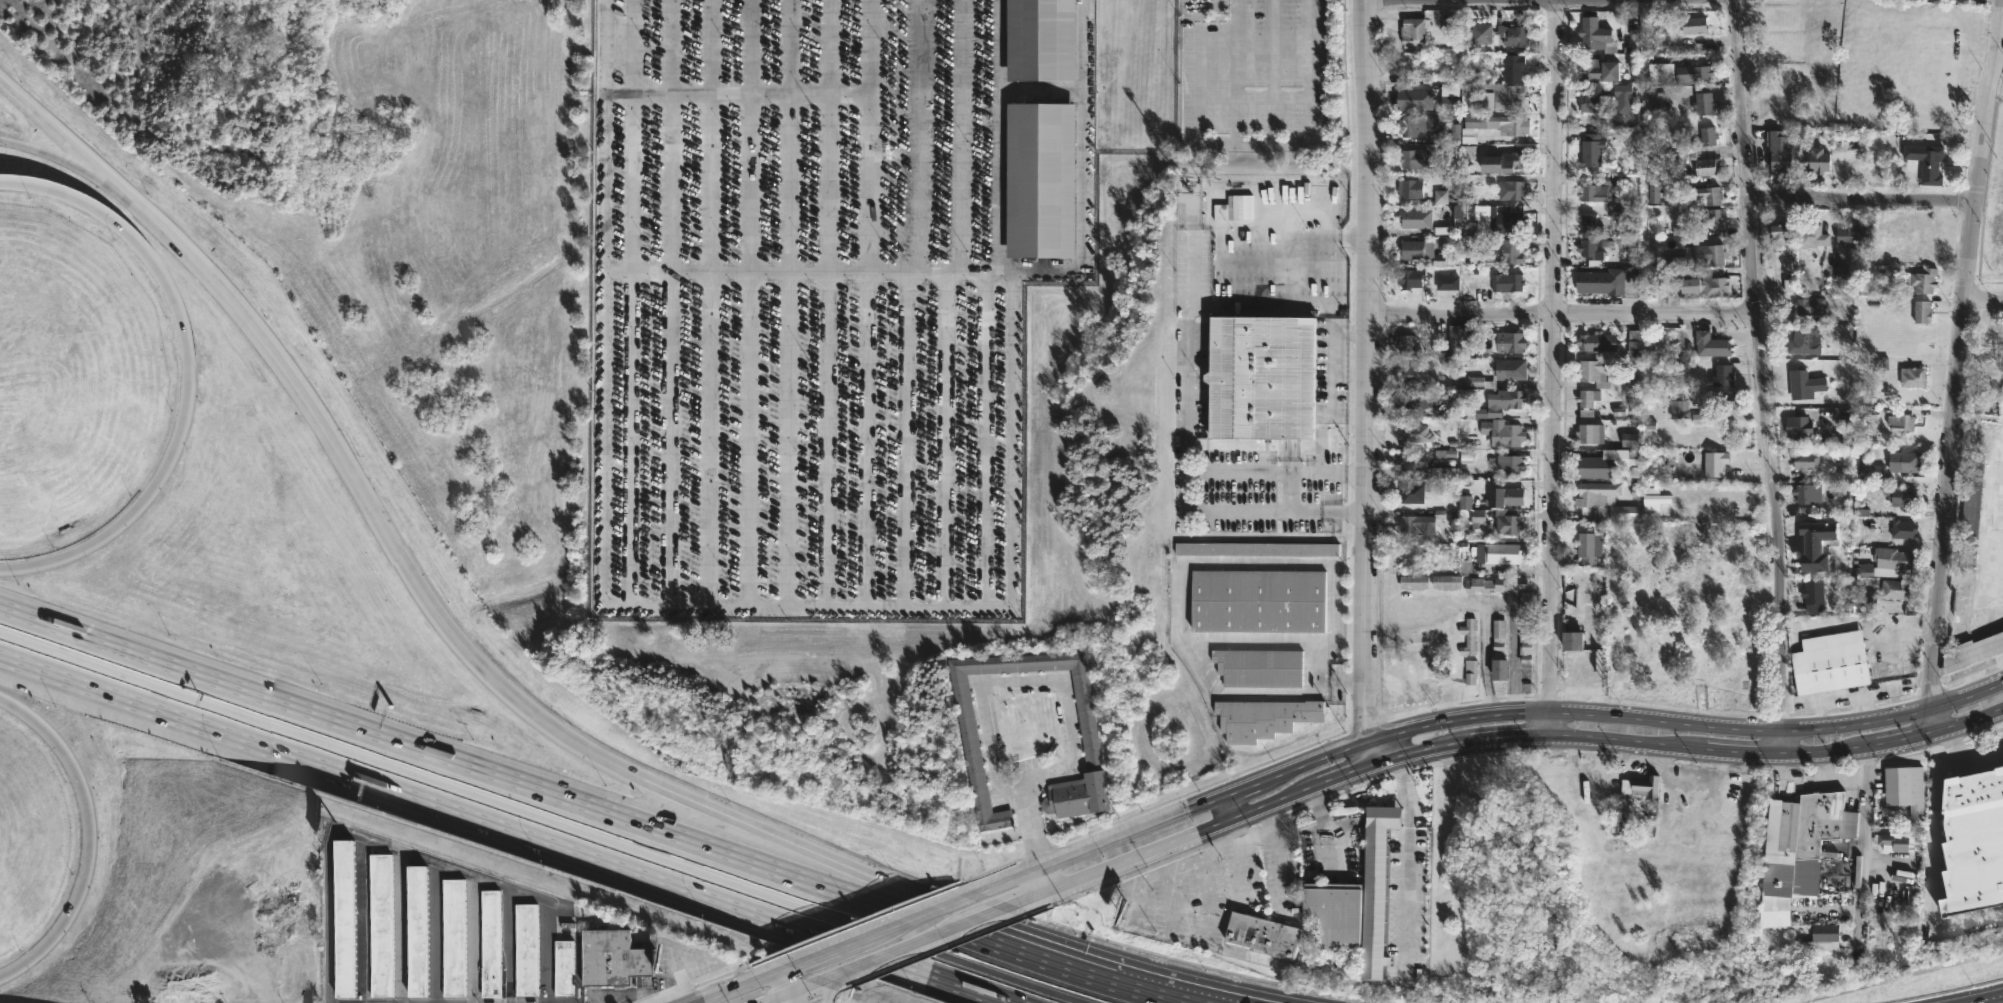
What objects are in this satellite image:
road: (1562, 2)
building: (1694, 25)
building: (1412, 31)
building: (1479, 33)
building: (1513, 35)
building: (1595, 35)
building: (1038, 39)
building: (1659, 40)
building: (1513, 67)
building: (1598, 69)
road: (1273, 70)
road: (1237, 72)
building: (1694, 72)
building: (1660, 73)
building: (1469, 75)
building: (1477, 83)
road: (807, 93)
building: (1504, 95)
building: (1623, 97)
building: (1412, 98)
building: (1595, 102)
building: (1704, 103)
road: (36, 115)
building: (1410, 125)
building: (1511, 125)
building: (1474, 132)
building: (1446, 134)
road: (910, 135)
road: (953, 135)
road: (989, 135)
building: (1705, 136)
road: (1237, 139)
road: (31, 147)
building: (1591, 150)
building: (1779, 151)
building: (1413, 158)
building: (1818, 160)
building: (1501, 162)
building: (1926, 162)
building: (1706, 167)
road: (95, 168)
road: (90, 173)
building: (1038, 179)
building: (1409, 188)
building: (1514, 189)
building: (1654, 191)
building: (1593, 192)
building: (1707, 195)
road: (1860, 199)
building: (1414, 216)
building: (1711, 217)
building: (1508, 221)
building: (1589, 224)
building: (1780, 235)
building: (1811, 235)
building: (1855, 235)
road: (1355, 237)
building: (1922, 240)
building: (1592, 248)
building: (1412, 249)
building: (1504, 251)
building: (1709, 254)
road: (1256, 261)
road: (986, 271)
road: (1289, 275)
building: (1840, 276)
building: (1411, 278)
building: (1922, 280)
building: (1589, 281)
building: (1615, 281)
building: (1507, 282)
building: (1788, 282)
building: (1704, 286)
road: (668, 302)
road: (743, 302)
road: (706, 303)
road: (781, 303)
road: (819, 303)
road: (859, 303)
road: (1984, 305)
building: (1809, 306)
building: (1922, 311)
road: (1560, 315)
building: (1460, 340)
building: (1804, 340)
building: (1503, 342)
building: (1595, 342)
building: (1405, 343)
building: (1634, 343)
building: (1710, 345)
building: (1990, 349)
road: (1962, 351)
building: (1878, 364)
road: (1553, 370)
building: (1592, 372)
building: (1411, 373)
building: (1497, 373)
road: (187, 374)
building: (1722, 376)
road: (1758, 376)
building: (1259, 377)
building: (1912, 377)
road: (1369, 382)
building: (1804, 384)
building: (1415, 398)
building: (1723, 400)
building: (1587, 401)
road: (1329, 403)
building: (1498, 403)
building: (1679, 408)
building: (1900, 423)
building: (1799, 429)
building: (1415, 433)
building: (1502, 433)
building: (1589, 434)
road: (895, 439)
road: (935, 439)
road: (973, 440)
building: (1629, 440)
building: (1847, 440)
building: (1805, 461)
building: (1904, 461)
building: (1412, 462)
building: (1607, 463)
road: (1185, 464)
building: (1509, 464)
building: (1714, 464)
road: (1264, 472)
building: (1872, 472)
road: (1356, 473)
road: (1288, 492)
building: (1412, 493)
building: (1807, 494)
building: (1901, 496)
building: (1503, 497)
building: (1654, 499)
building: (1471, 511)
road: (1357, 512)
building: (1969, 516)
building: (1597, 517)
building: (1507, 522)
building: (1411, 525)
building: (1903, 530)
building: (1815, 537)
building: (1256, 549)
building: (1501, 553)
building: (1893, 558)
road: (1188, 562)
building: (1412, 582)
building: (1445, 582)
building: (1493, 585)
road: (417, 588)
building: (1895, 590)
building: (1813, 595)
building: (1257, 601)
building: (1861, 603)
road: (685, 605)
park: (1692, 617)
building: (1525, 627)
building: (1468, 637)
road: (1249, 639)
building: (1572, 641)
building: (1498, 652)
building: (1972, 652)
building: (1830, 663)
building: (1258, 668)
road: (1053, 681)
road: (1355, 683)
road: (1966, 691)
road: (1592, 711)
road: (1934, 716)
building: (1262, 718)
road: (1971, 718)
building: (965, 724)
road: (1903, 736)
road: (1505, 739)
road: (1622, 741)
road: (1949, 741)
road: (1981, 748)
road: (1420, 750)
road: (1530, 751)
road: (1741, 751)
road: (1826, 752)
road: (468, 764)
road: (1347, 772)
road: (1241, 785)
building: (1641, 786)
building: (1905, 791)
road: (466, 793)
road: (1226, 807)
road: (462, 816)
building: (1807, 827)
road: (89, 837)
road: (1036, 839)
road: (1182, 839)
road: (1261, 839)
building: (1892, 843)
road: (1092, 844)
building: (1973, 844)
road: (393, 848)
road: (1862, 852)
road: (1407, 853)
road: (1932, 867)
building: (1375, 887)
road: (883, 892)
road: (1025, 901)
building: (1333, 912)
road: (916, 914)
road: (985, 916)
building: (348, 920)
building: (383, 927)
building: (420, 933)
road: (577, 933)
building: (1262, 933)
road: (472, 938)
building: (455, 939)
building: (1821, 939)
road: (957, 942)
building: (492, 945)
road: (901, 948)
road: (828, 950)
road: (545, 951)
building: (528, 952)
building: (614, 961)
road: (1061, 966)
road: (783, 968)
building: (565, 969)
road: (830, 976)
road: (833, 976)
road: (1010, 978)
road: (735, 987)
road: (785, 987)
road: (966, 989)
road: (794, 990)
road: (827, 990)
road: (819, 995)

